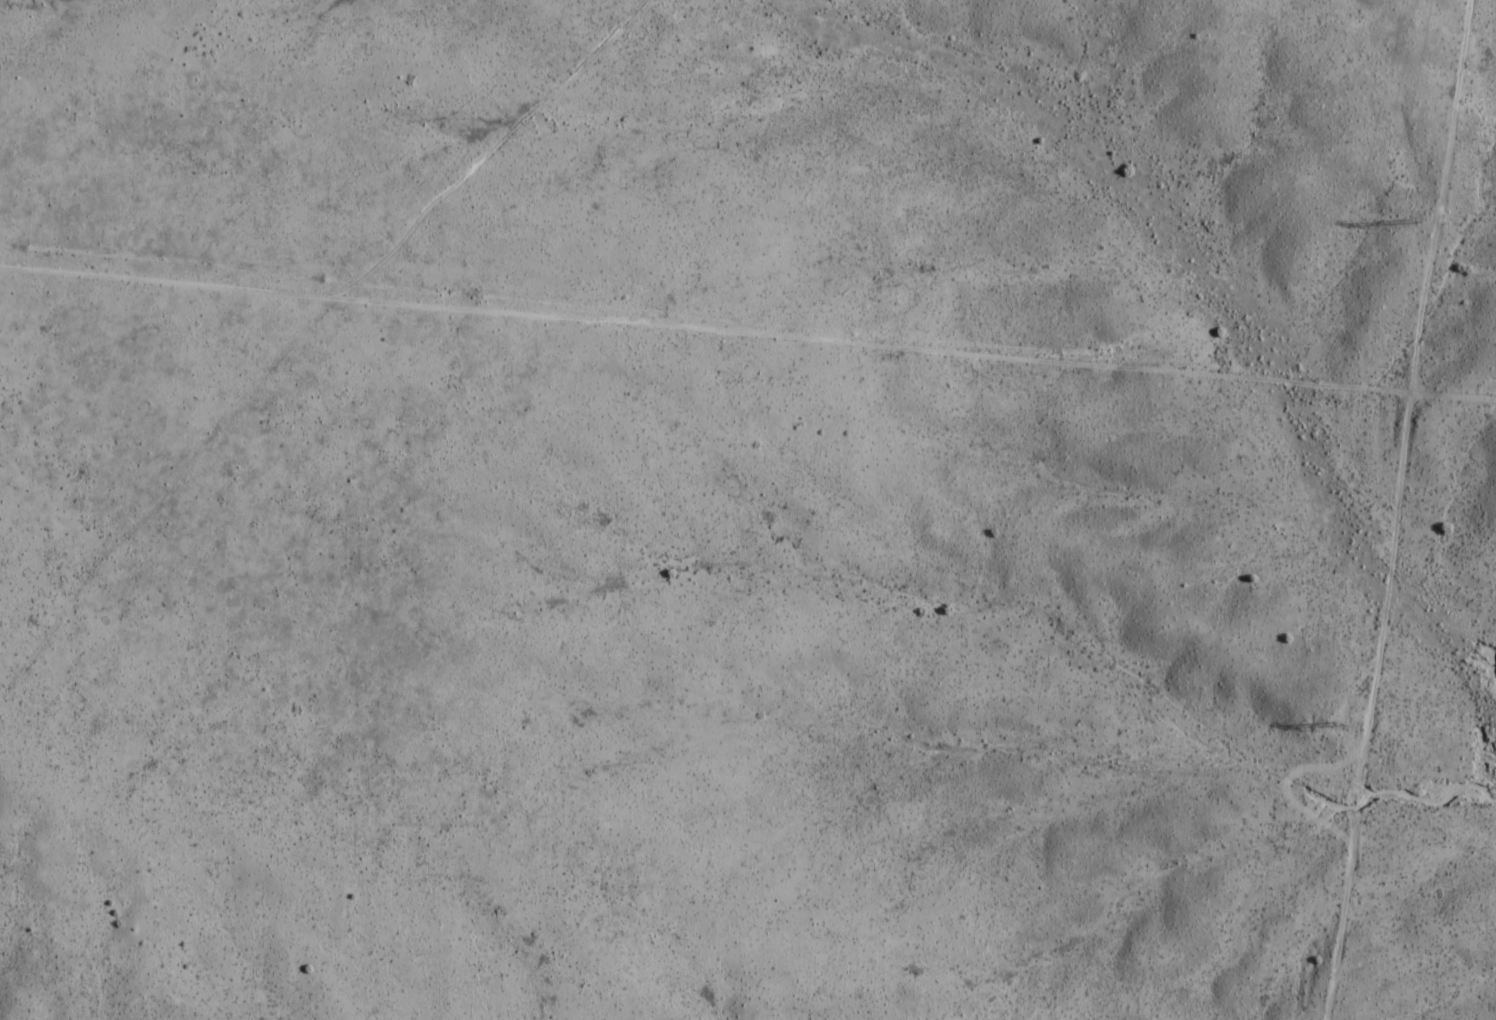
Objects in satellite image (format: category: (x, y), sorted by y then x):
power tower: (1424, 218)
power tower: (1345, 723)

